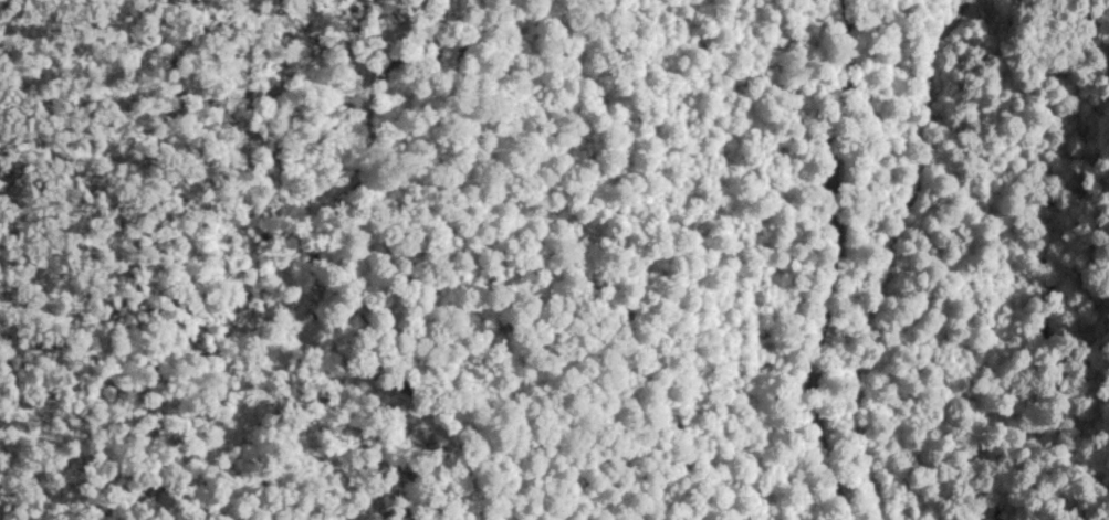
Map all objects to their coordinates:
road: (783, 261)

